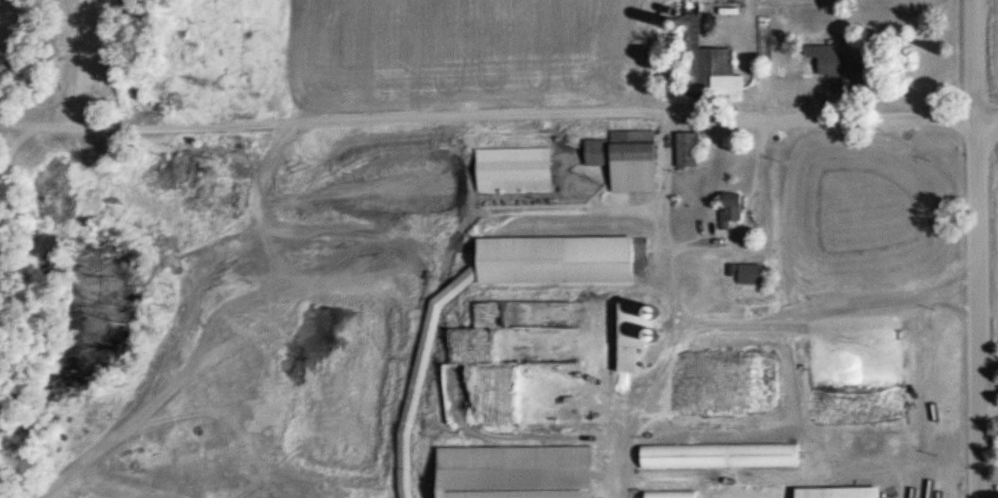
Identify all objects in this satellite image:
road: (0, 2)
road: (985, 58)
building: (703, 60)
building: (833, 60)
road: (1, 111)
road: (493, 114)
road: (992, 115)
building: (687, 149)
building: (626, 159)
building: (514, 169)
building: (730, 209)
building: (624, 249)
building: (520, 260)
road: (987, 307)
building: (151, 329)
building: (633, 333)
building: (683, 455)
building: (514, 457)

